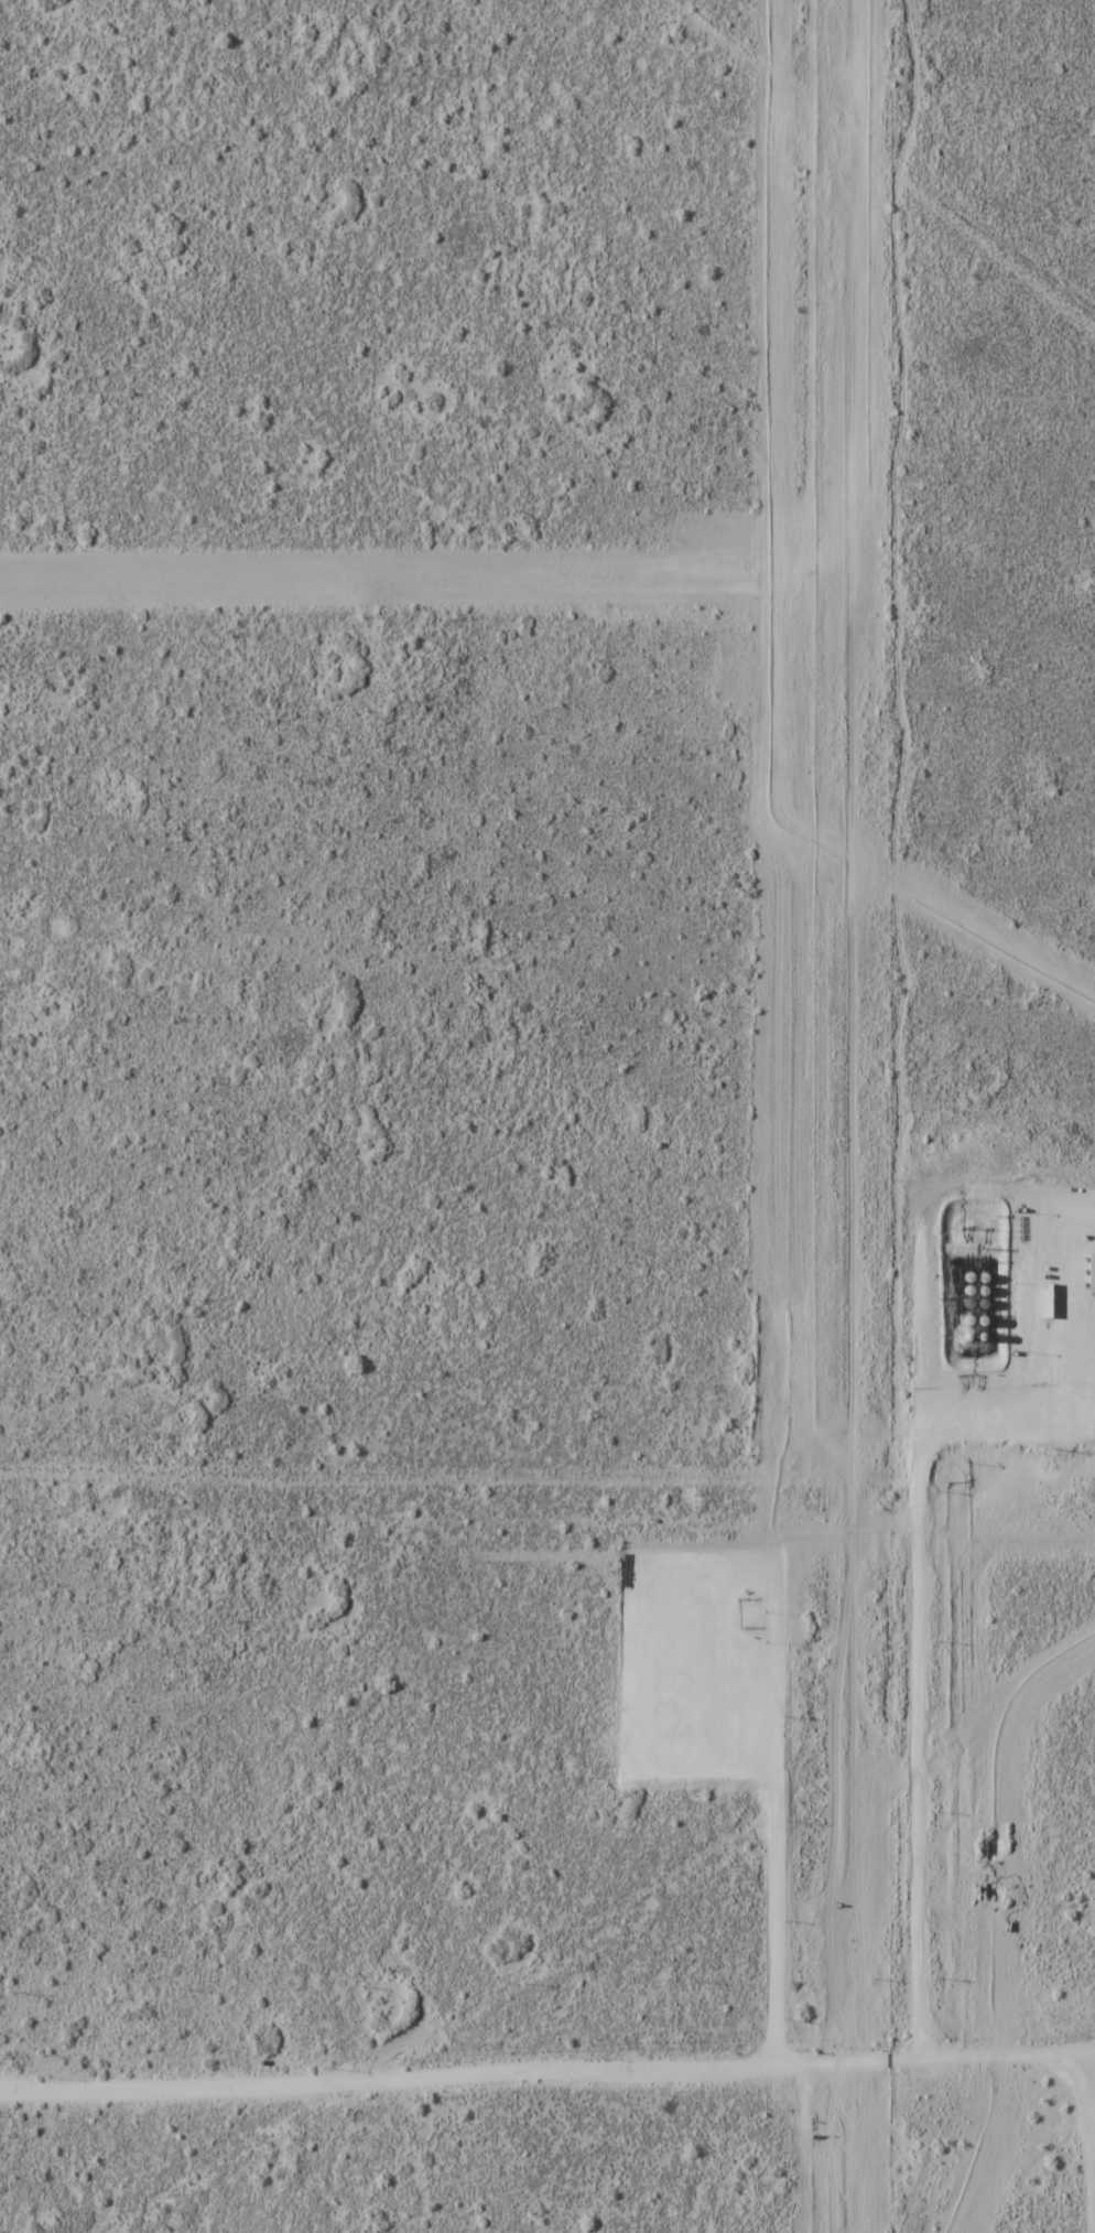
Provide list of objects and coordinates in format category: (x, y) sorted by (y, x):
road: (918, 1655)
road: (792, 1790)
road: (989, 2054)
road: (442, 2078)
road: (1082, 2142)

